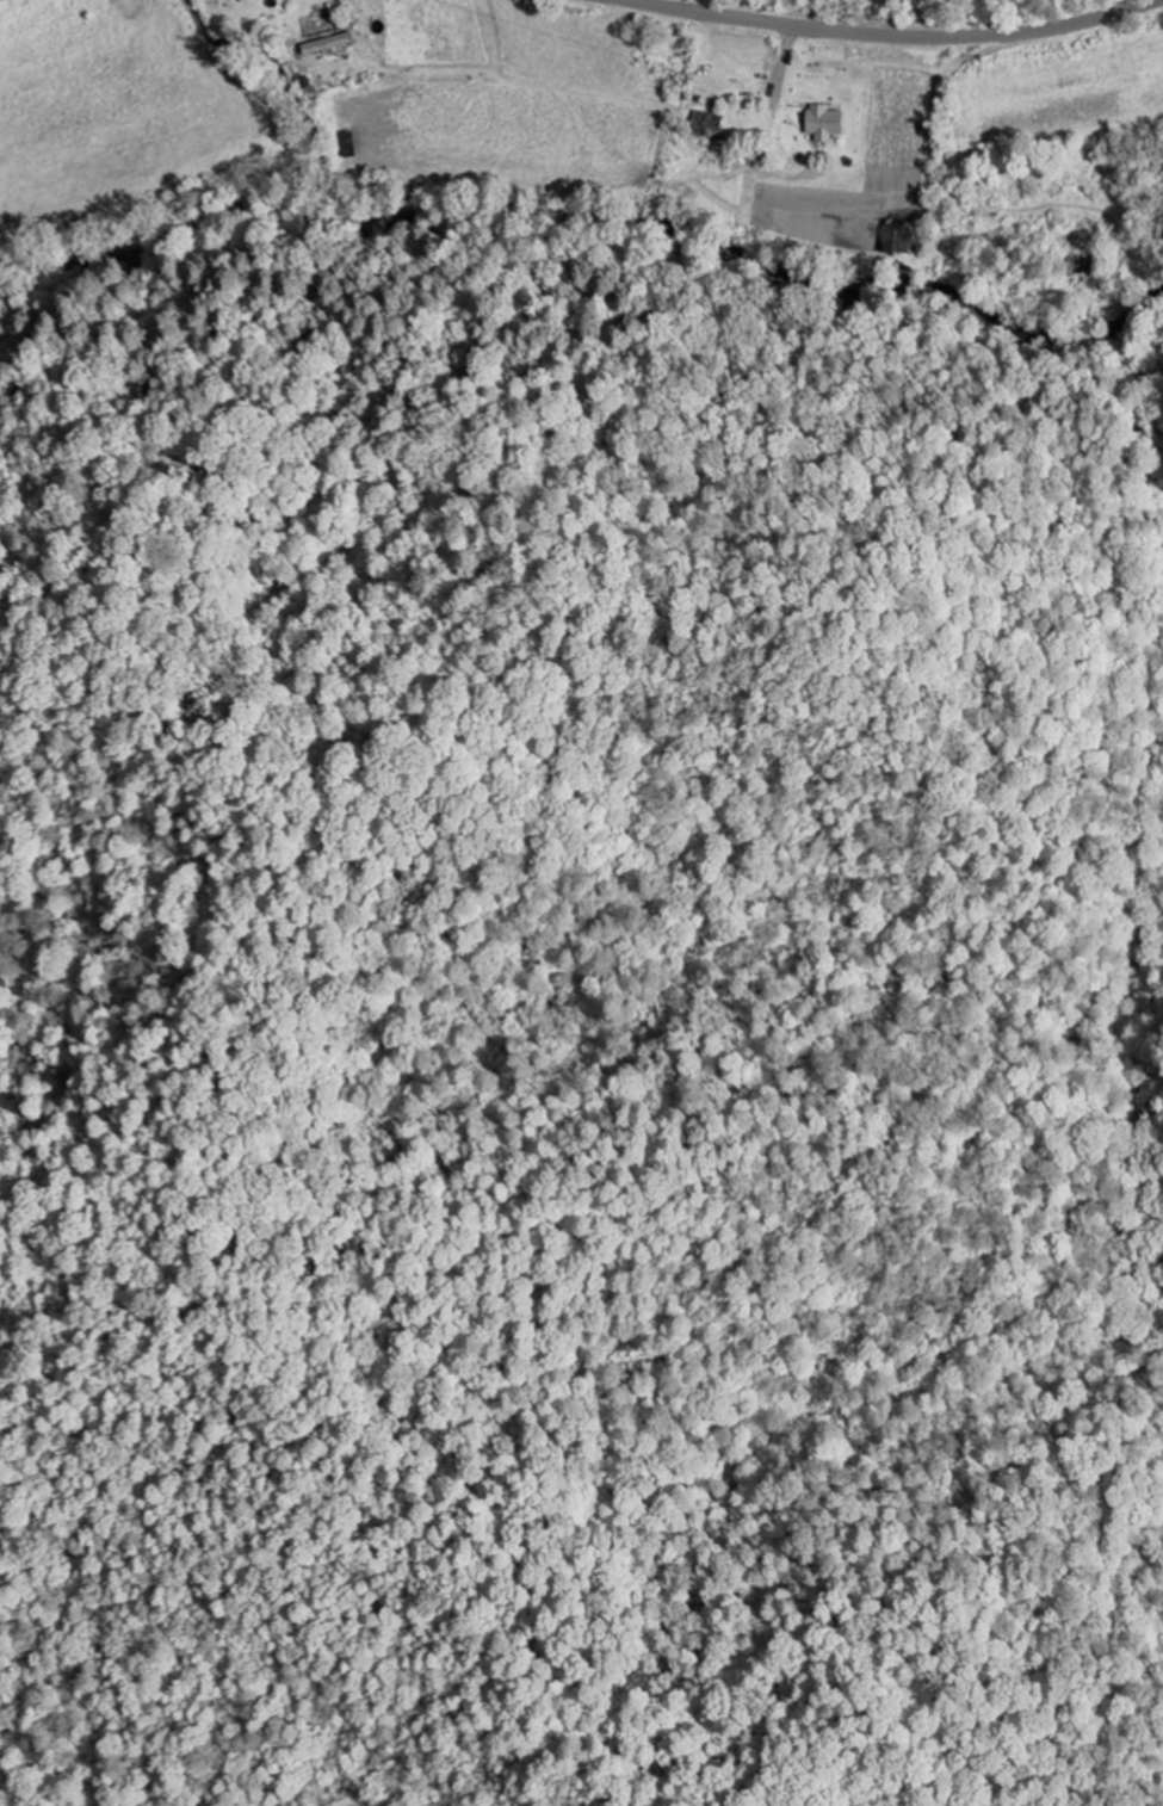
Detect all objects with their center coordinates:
road: (892, 35)
building: (827, 122)
road: (865, 122)

